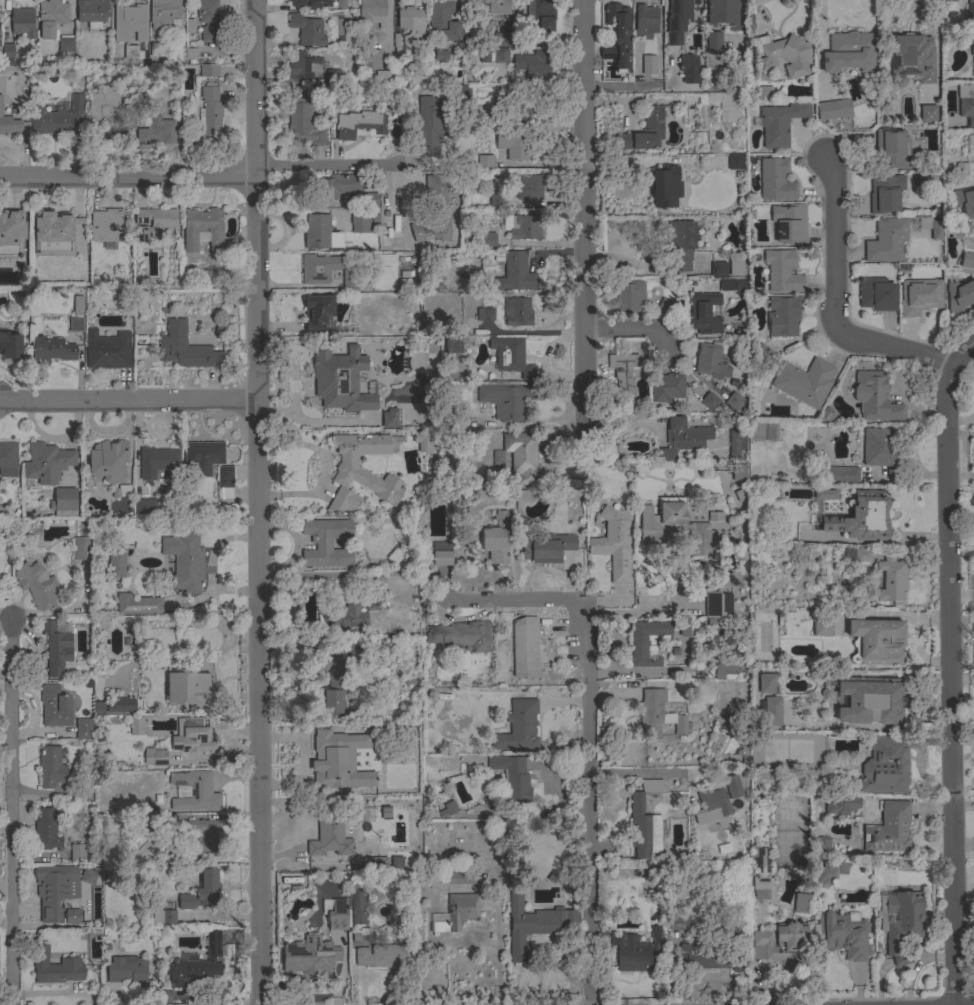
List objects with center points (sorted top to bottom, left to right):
building: (947, 0)
road: (753, 2)
building: (310, 3)
building: (497, 7)
building: (970, 9)
building: (92, 12)
building: (163, 13)
road: (754, 13)
building: (371, 14)
building: (52, 15)
building: (723, 15)
building: (541, 16)
building: (207, 18)
building: (677, 19)
road: (785, 19)
building: (442, 21)
building: (645, 21)
building: (22, 22)
building: (130, 22)
building: (411, 28)
building: (307, 30)
building: (619, 37)
building: (504, 40)
building: (713, 43)
building: (65, 44)
building: (397, 44)
building: (156, 49)
building: (7, 52)
building: (130, 52)
building: (849, 52)
building: (606, 53)
building: (972, 53)
building: (191, 55)
building: (440, 56)
building: (500, 56)
building: (781, 56)
building: (908, 59)
building: (369, 60)
building: (532, 64)
building: (648, 65)
building: (302, 66)
building: (688, 69)
building: (208, 71)
building: (333, 76)
building: (380, 77)
building: (765, 91)
building: (966, 102)
building: (103, 106)
building: (725, 106)
building: (520, 110)
building: (833, 110)
building: (927, 113)
building: (209, 115)
building: (57, 118)
building: (303, 123)
building: (358, 123)
building: (779, 123)
building: (428, 125)
building: (10, 126)
building: (156, 131)
building: (644, 131)
building: (514, 144)
building: (973, 144)
building: (893, 149)
road: (322, 161)
building: (736, 161)
building: (485, 162)
building: (961, 169)
road: (126, 180)
building: (775, 180)
building: (472, 183)
building: (337, 186)
building: (663, 186)
building: (528, 187)
building: (435, 191)
building: (885, 193)
building: (369, 200)
building: (495, 200)
building: (964, 201)
road: (586, 213)
building: (359, 221)
building: (153, 223)
building: (789, 223)
building: (105, 225)
building: (522, 226)
building: (931, 227)
building: (432, 228)
building: (203, 230)
building: (317, 232)
building: (11, 233)
building: (54, 235)
building: (487, 239)
building: (886, 240)
building: (680, 244)
building: (967, 260)
building: (736, 267)
building: (718, 270)
building: (328, 271)
building: (512, 272)
building: (781, 272)
building: (732, 285)
building: (876, 294)
building: (959, 295)
building: (142, 297)
building: (628, 297)
building: (919, 297)
building: (78, 306)
building: (664, 307)
road: (836, 309)
building: (317, 311)
building: (517, 312)
building: (704, 313)
building: (485, 314)
building: (782, 316)
building: (76, 324)
road: (632, 332)
building: (10, 346)
building: (452, 346)
building: (185, 348)
building: (51, 350)
building: (107, 350)
building: (758, 354)
building: (511, 359)
building: (709, 360)
building: (340, 381)
building: (625, 381)
building: (804, 382)
building: (315, 384)
building: (666, 387)
building: (875, 397)
road: (127, 399)
building: (506, 400)
building: (709, 401)
building: (734, 401)
building: (827, 415)
building: (389, 419)
building: (381, 422)
building: (682, 438)
building: (421, 441)
building: (734, 443)
building: (880, 449)
building: (521, 456)
building: (201, 457)
building: (8, 459)
building: (107, 461)
building: (156, 461)
building: (46, 463)
building: (361, 471)
building: (739, 472)
building: (839, 475)
building: (224, 481)
building: (121, 491)
building: (825, 494)
building: (524, 495)
building: (63, 502)
road: (255, 502)
building: (145, 507)
building: (715, 517)
building: (861, 517)
building: (675, 527)
building: (495, 539)
building: (326, 543)
building: (613, 546)
building: (546, 547)
building: (81, 548)
building: (440, 553)
building: (858, 554)
building: (184, 560)
building: (116, 562)
building: (891, 579)
building: (36, 585)
building: (371, 602)
road: (513, 602)
building: (717, 604)
building: (137, 605)
building: (346, 616)
building: (822, 624)
building: (684, 633)
building: (461, 635)
building: (876, 642)
building: (522, 644)
building: (638, 645)
building: (56, 648)
building: (726, 669)
road: (949, 669)
building: (765, 683)
building: (332, 689)
building: (187, 690)
building: (868, 700)
building: (123, 705)
building: (55, 707)
building: (771, 711)
building: (651, 712)
building: (681, 724)
building: (136, 726)
building: (518, 727)
building: (83, 729)
building: (192, 737)
building: (155, 757)
building: (331, 764)
building: (885, 766)
building: (51, 768)
road: (638, 771)
building: (512, 782)
building: (732, 786)
building: (196, 792)
road: (588, 804)
building: (711, 806)
building: (841, 806)
building: (447, 809)
building: (385, 813)
road: (11, 814)
building: (644, 822)
building: (46, 829)
building: (888, 829)
building: (203, 836)
building: (329, 837)
building: (822, 843)
building: (77, 853)
building: (762, 865)
building: (825, 873)
building: (88, 876)
building: (461, 878)
building: (55, 890)
building: (201, 892)
building: (761, 894)
building: (800, 903)
building: (358, 907)
building: (457, 913)
building: (164, 915)
building: (337, 915)
building: (72, 917)
building: (676, 922)
building: (900, 922)
building: (533, 924)
building: (737, 932)
building: (842, 935)
building: (780, 945)
building: (635, 951)
road: (496, 953)
building: (310, 956)
building: (382, 957)
building: (709, 958)
building: (196, 963)
building: (55, 967)
building: (127, 969)

